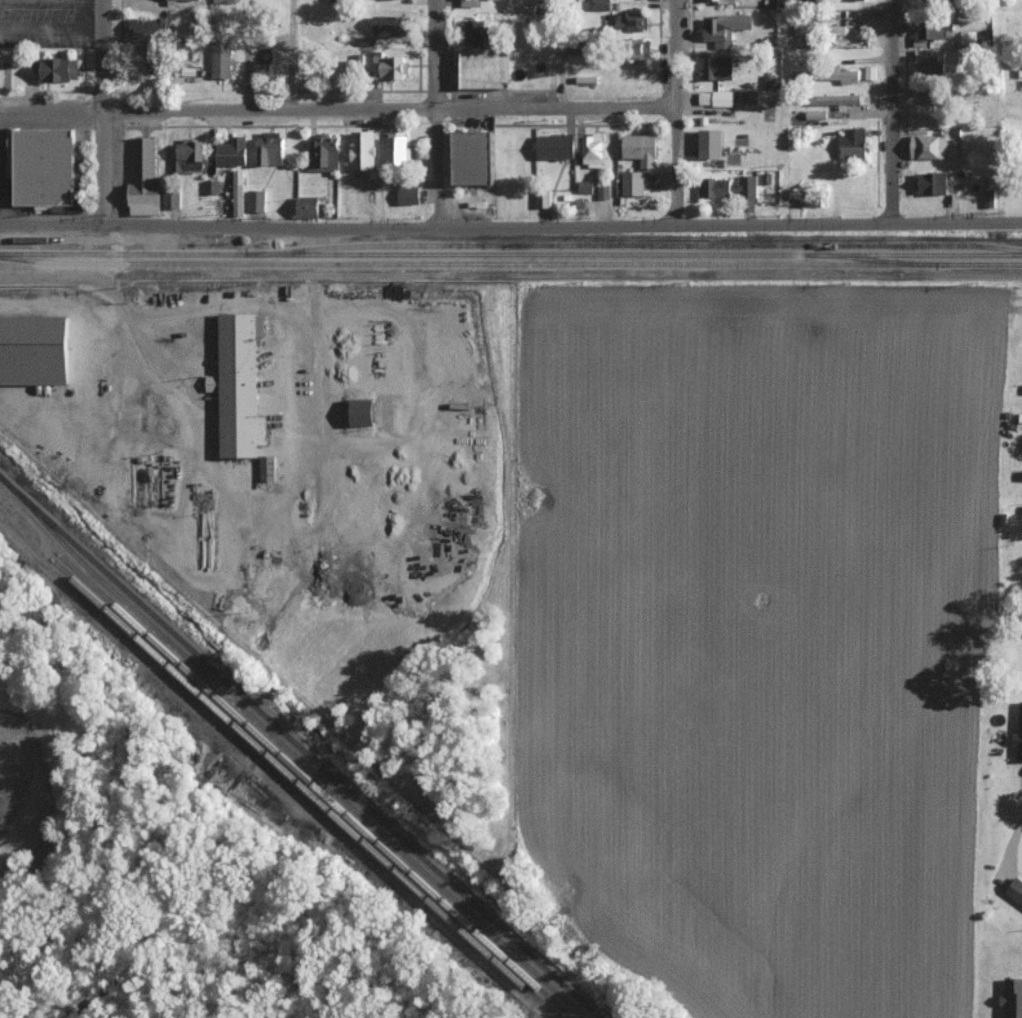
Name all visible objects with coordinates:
building: (339, 0)
building: (719, 0)
building: (849, 0)
building: (926, 0)
building: (224, 1)
building: (172, 2)
building: (470, 2)
building: (601, 4)
building: (629, 21)
parking lot: (42, 23)
building: (391, 26)
building: (725, 28)
building: (930, 28)
building: (150, 30)
building: (477, 32)
building: (807, 33)
building: (968, 37)
road: (288, 54)
building: (221, 58)
building: (929, 64)
building: (155, 65)
building: (388, 66)
building: (486, 67)
building: (718, 67)
building: (57, 68)
building: (871, 72)
building: (1020, 72)
building: (847, 75)
building: (750, 96)
building: (716, 97)
building: (838, 99)
road: (336, 108)
road: (103, 111)
road: (674, 111)
road: (785, 111)
road: (888, 111)
road: (433, 114)
building: (854, 142)
building: (712, 143)
building: (929, 146)
building: (271, 147)
building: (398, 147)
building: (572, 147)
road: (1, 148)
building: (641, 148)
building: (364, 149)
building: (233, 151)
building: (324, 153)
building: (191, 154)
building: (477, 157)
building: (47, 169)
road: (4, 172)
building: (145, 178)
building: (633, 182)
building: (930, 183)
building: (213, 186)
building: (730, 186)
building: (585, 187)
building: (603, 191)
building: (239, 192)
road: (3, 193)
building: (409, 195)
building: (543, 197)
building: (989, 197)
building: (172, 199)
building: (256, 200)
building: (748, 202)
building: (309, 206)
road: (510, 226)
railway: (700, 247)
railway: (510, 257)
railway: (510, 267)
building: (35, 350)
building: (241, 387)
building: (364, 411)
building: (1020, 417)
building: (267, 468)
building: (1021, 474)
building: (1019, 736)
railway: (301, 743)
railway: (293, 752)
railway: (283, 756)
railway: (277, 763)
building: (1015, 890)
building: (1013, 997)

